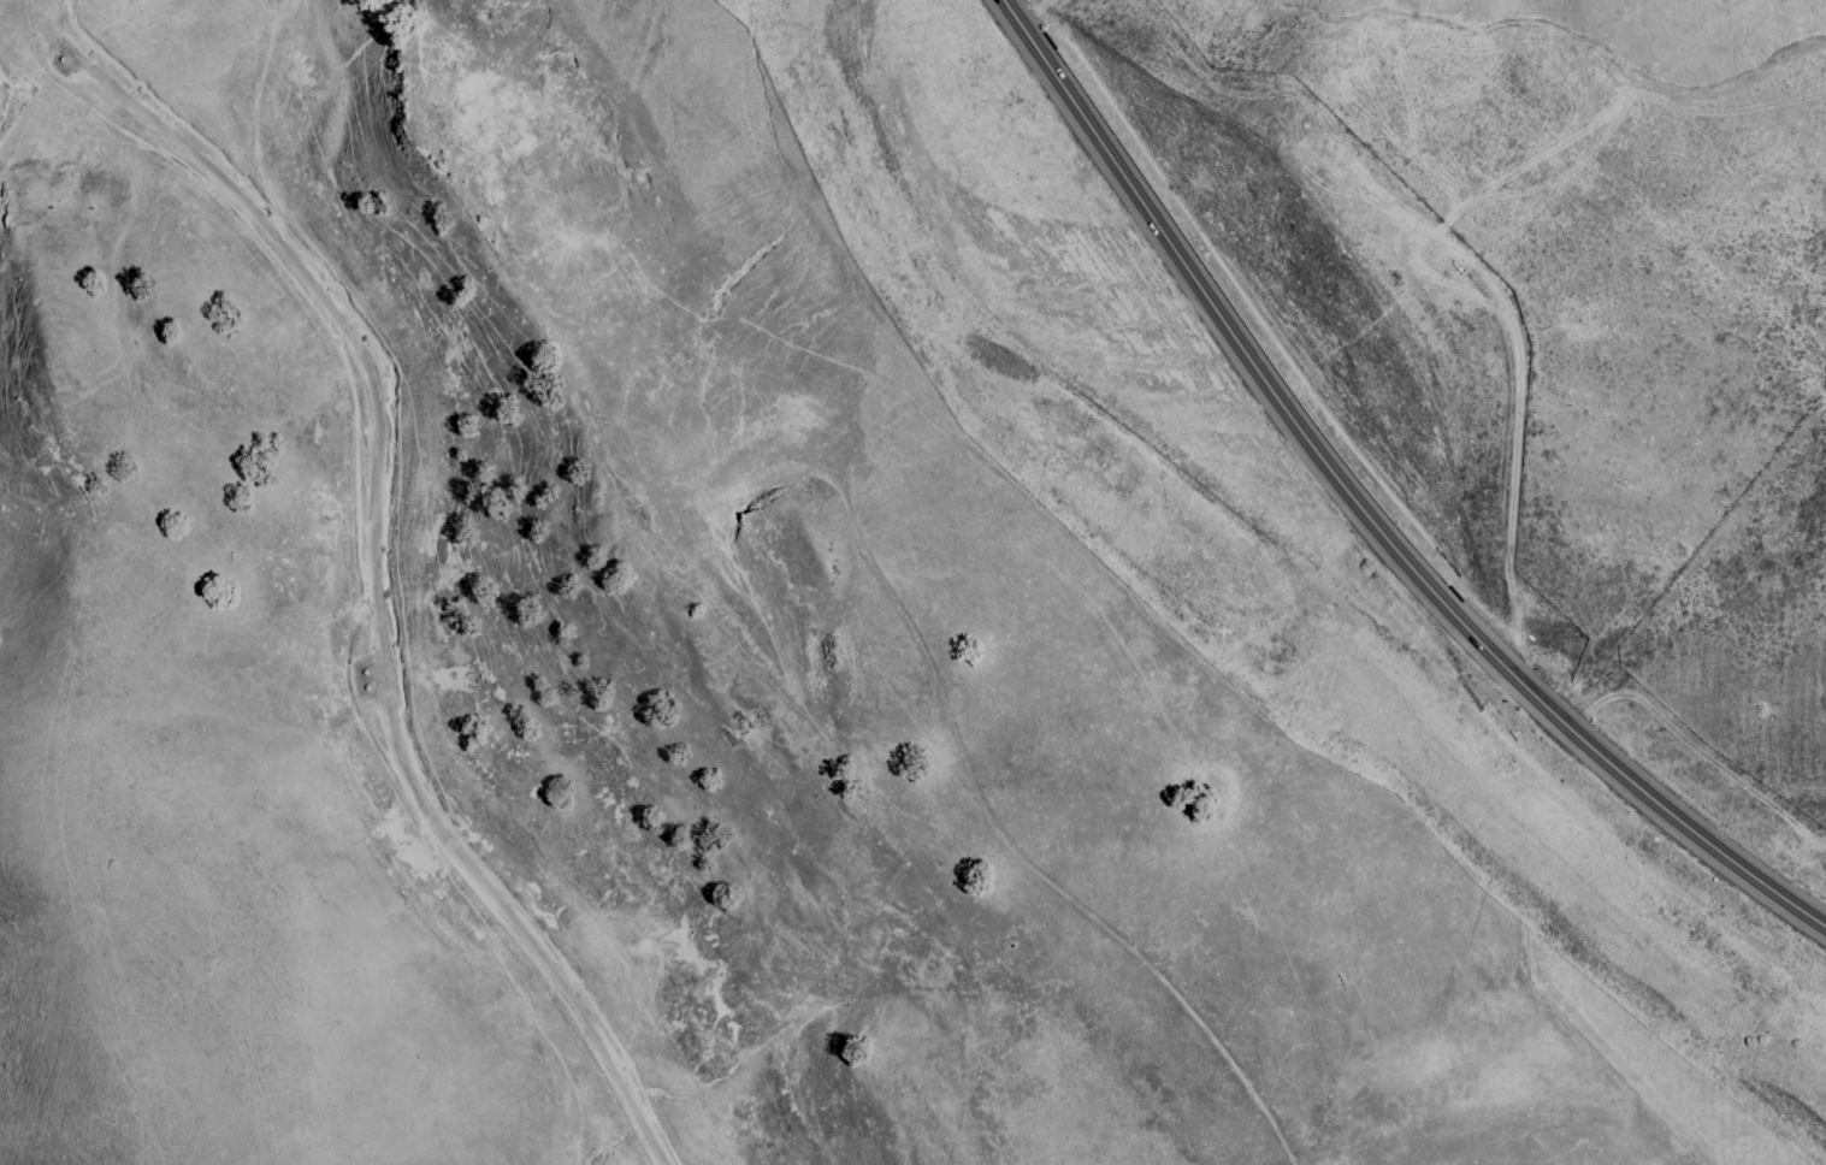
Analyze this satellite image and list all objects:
park: (1631, 306)
road: (1360, 513)
road: (371, 585)
park: (636, 675)

